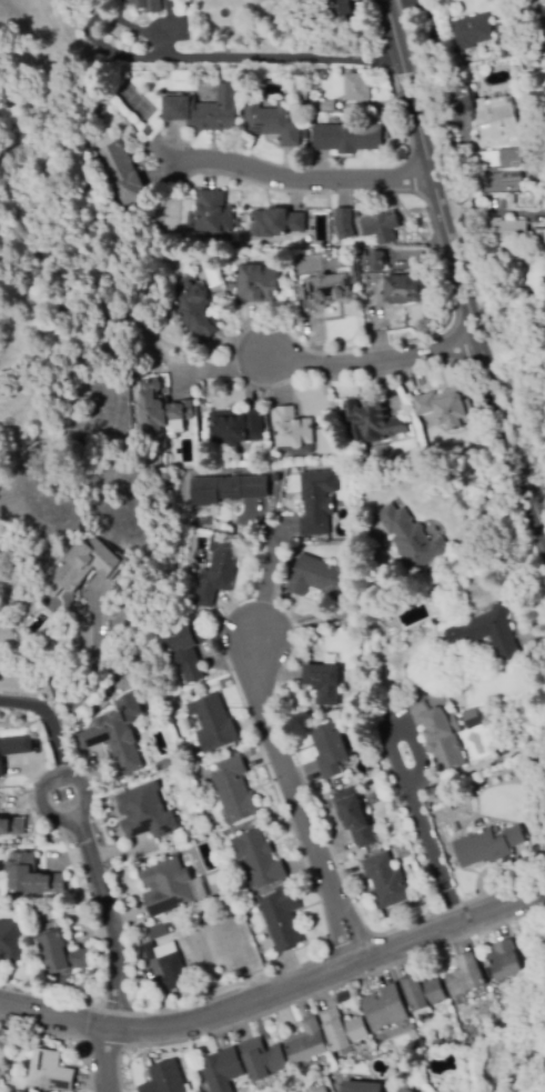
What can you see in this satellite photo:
building: (120, 0)
building: (148, 4)
building: (343, 8)
building: (535, 18)
building: (504, 32)
building: (468, 37)
building: (544, 37)
road: (221, 58)
building: (356, 88)
building: (326, 107)
building: (205, 110)
building: (272, 122)
building: (496, 123)
building: (149, 129)
building: (347, 138)
building: (505, 169)
building: (120, 173)
road: (301, 179)
building: (213, 213)
building: (276, 223)
building: (344, 224)
building: (381, 227)
building: (506, 231)
building: (538, 237)
building: (374, 261)
road: (455, 273)
building: (258, 284)
building: (330, 289)
building: (403, 290)
building: (194, 310)
road: (371, 359)
road: (212, 370)
building: (446, 408)
building: (159, 409)
building: (373, 421)
building: (235, 427)
building: (291, 429)
building: (268, 459)
building: (542, 477)
building: (275, 478)
building: (228, 489)
building: (316, 502)
building: (411, 539)
building: (463, 561)
building: (89, 567)
building: (218, 570)
building: (321, 577)
road: (266, 582)
building: (493, 632)
building: (428, 641)
building: (185, 650)
building: (455, 652)
building: (324, 683)
road: (53, 718)
building: (472, 719)
building: (213, 724)
building: (114, 733)
building: (441, 737)
building: (13, 748)
building: (330, 750)
building: (504, 750)
building: (339, 782)
building: (234, 791)
road: (296, 801)
road: (77, 812)
building: (145, 813)
building: (354, 817)
building: (12, 826)
building: (248, 826)
building: (534, 835)
road: (428, 840)
building: (490, 845)
building: (259, 859)
building: (32, 875)
building: (386, 881)
building: (166, 888)
road: (111, 919)
building: (282, 919)
building: (159, 931)
building: (11, 941)
building: (62, 953)
building: (506, 963)
building: (168, 964)
building: (466, 975)
road: (277, 991)
building: (424, 992)
road: (535, 1000)
building: (385, 1009)
park: (524, 1020)
building: (343, 1029)
building: (306, 1042)
building: (263, 1059)
road: (105, 1060)
building: (222, 1070)
building: (50, 1071)
building: (164, 1078)
building: (362, 1086)
building: (340, 1089)
building: (321, 1090)
building: (405, 1090)

